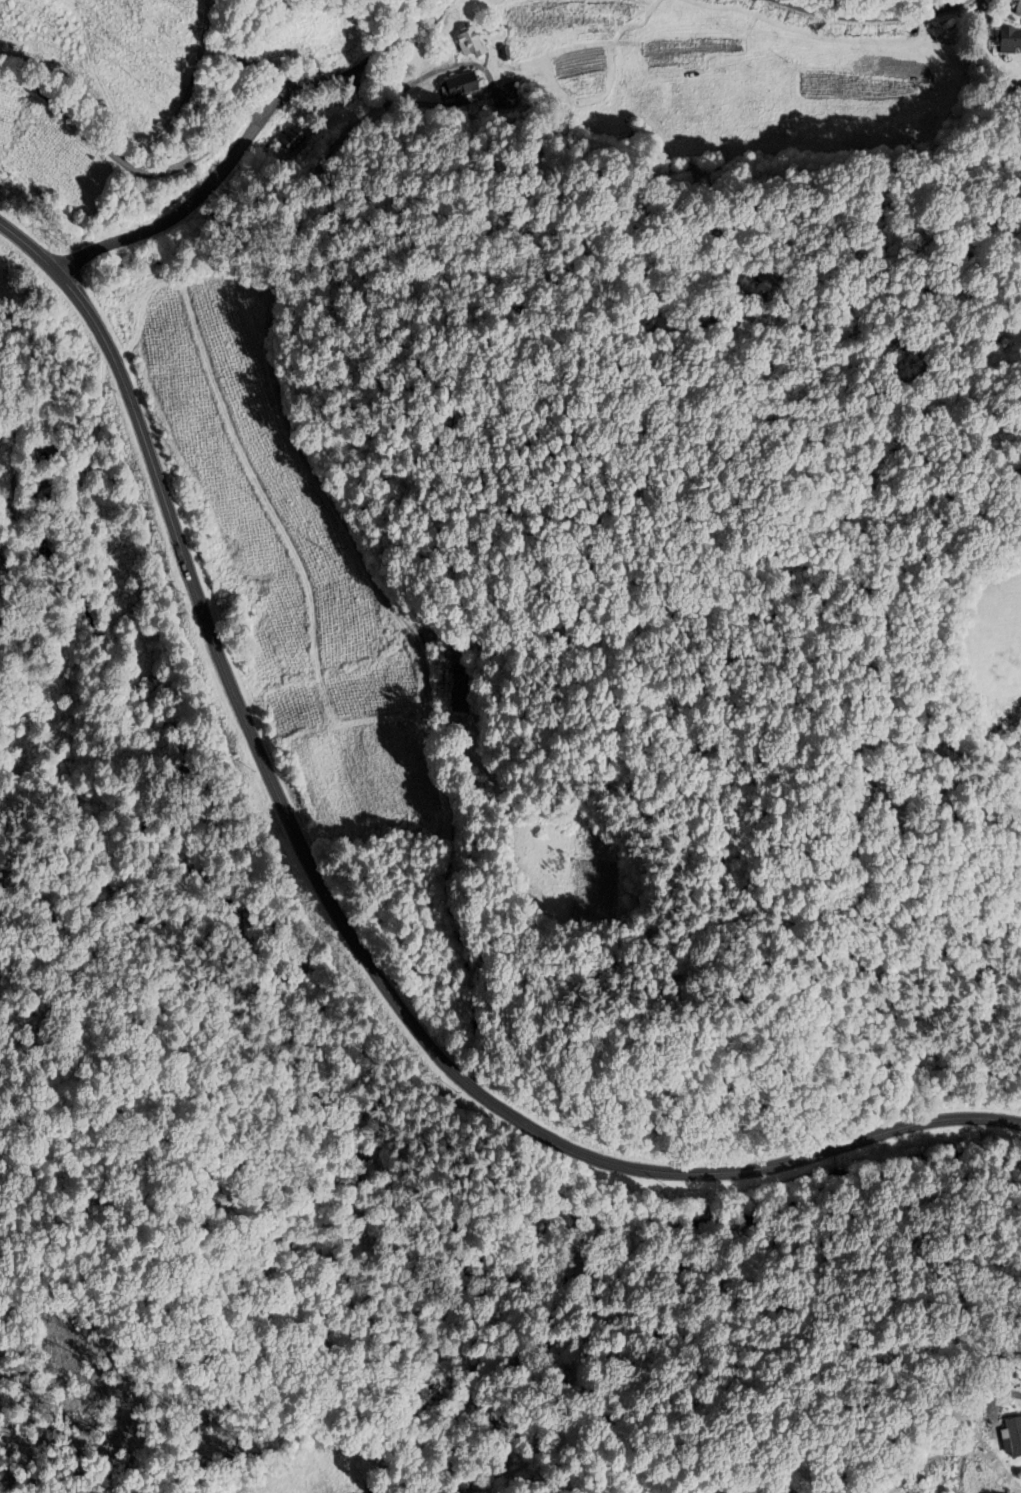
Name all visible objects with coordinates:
road: (868, 19)
building: (1012, 41)
building: (471, 42)
road: (363, 64)
building: (463, 86)
road: (135, 168)
road: (183, 212)
road: (341, 923)
road: (995, 1397)

